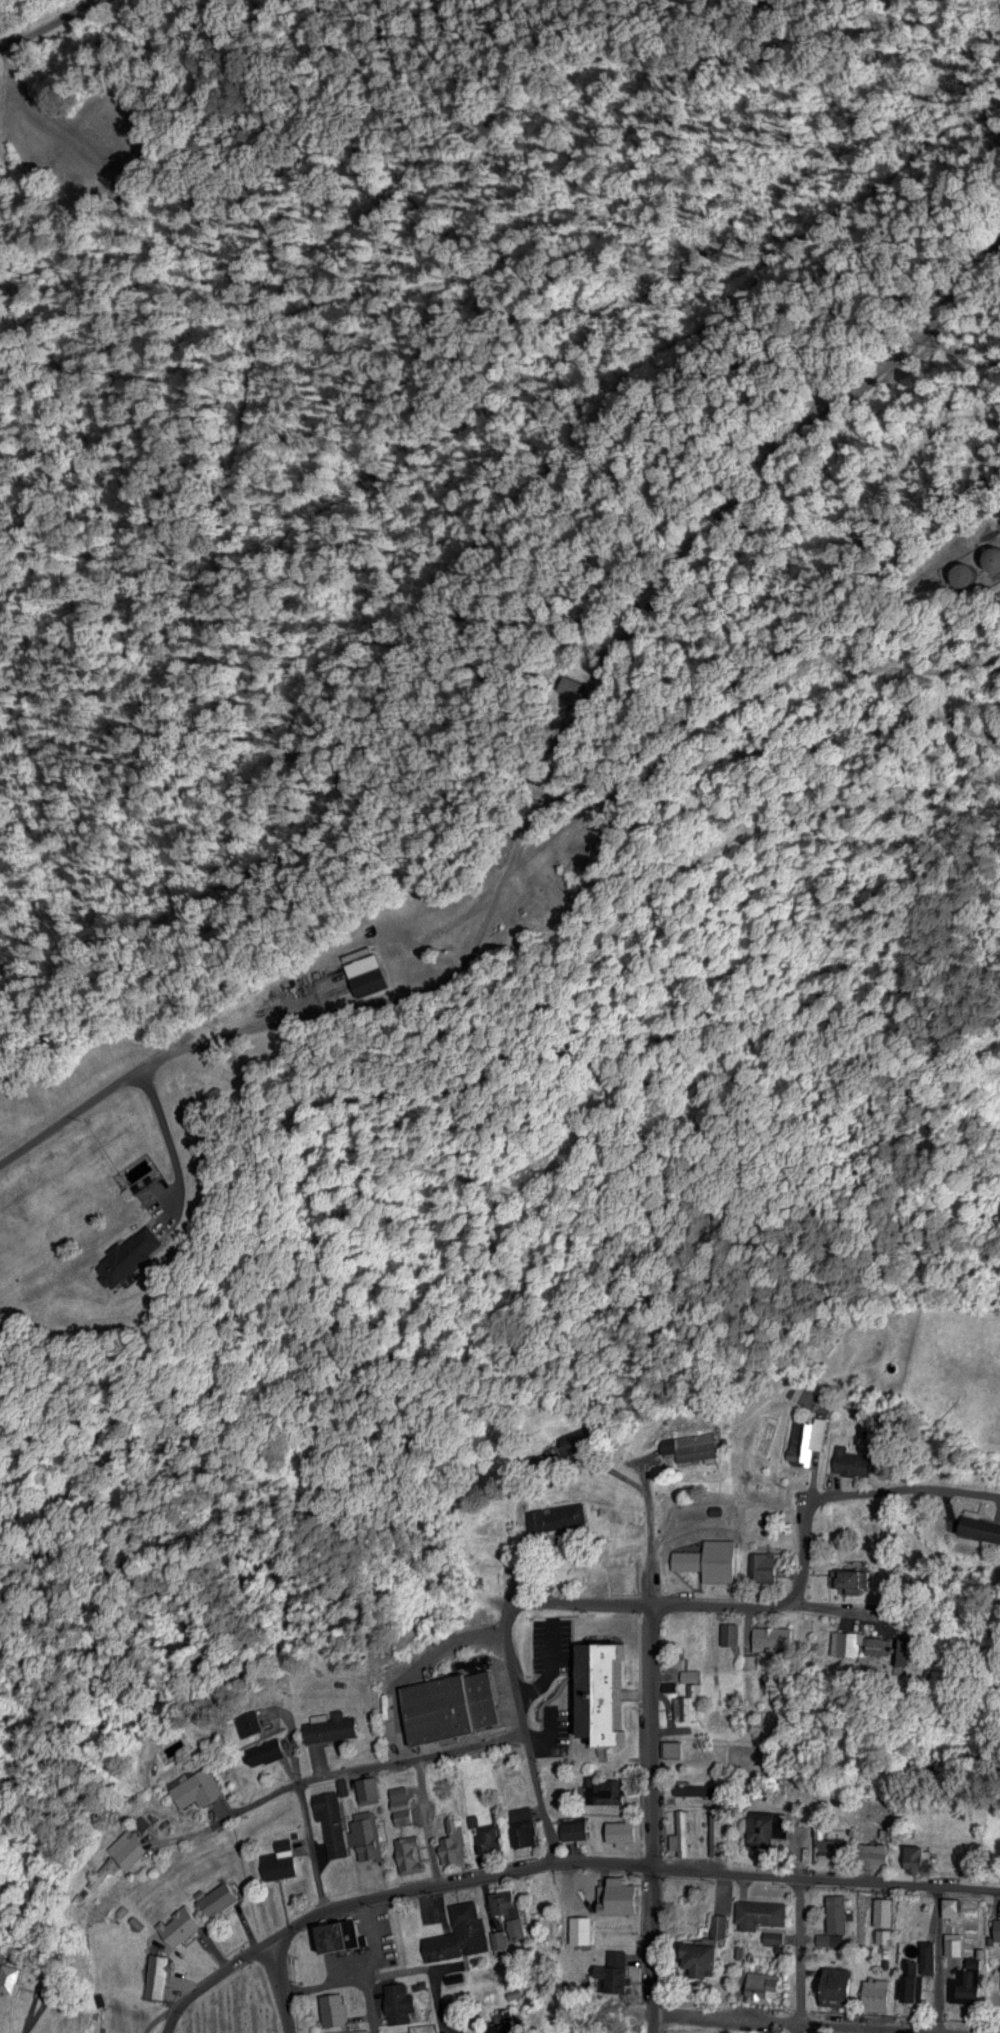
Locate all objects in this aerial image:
road: (44, 23)
road: (715, 518)
building: (989, 558)
building: (566, 685)
road: (278, 1021)
building: (136, 1253)
building: (804, 1391)
building: (809, 1435)
building: (579, 1438)
building: (700, 1446)
building: (856, 1460)
road: (853, 1491)
building: (560, 1516)
building: (984, 1525)
road: (650, 1528)
building: (498, 1547)
building: (712, 1557)
building: (766, 1565)
building: (853, 1579)
road: (584, 1600)
road: (761, 1603)
building: (733, 1632)
building: (775, 1634)
building: (867, 1642)
building: (547, 1647)
building: (778, 1688)
building: (622, 1692)
building: (692, 1695)
building: (451, 1704)
building: (725, 1715)
building: (251, 1722)
building: (335, 1725)
road: (527, 1729)
road: (652, 1733)
building: (677, 1747)
building: (269, 1750)
road: (412, 1752)
road: (715, 1771)
building: (371, 1788)
building: (609, 1788)
building: (701, 1788)
building: (201, 1795)
road: (245, 1807)
building: (407, 1810)
building: (335, 1820)
building: (527, 1825)
building: (577, 1826)
building: (617, 1826)
building: (771, 1826)
building: (683, 1831)
building: (717, 1831)
building: (370, 1836)
building: (493, 1836)
road: (311, 1841)
building: (457, 1841)
building: (128, 1849)
building: (832, 1849)
building: (879, 1854)
building: (920, 1857)
building: (282, 1862)
road: (826, 1876)
road: (383, 1889)
building: (620, 1890)
building: (221, 1897)
building: (955, 1905)
building: (512, 1909)
building: (887, 1910)
building: (762, 1912)
building: (837, 1919)
building: (182, 1924)
building: (721, 1924)
building: (999, 1927)
building: (583, 1928)
building: (462, 1932)
building: (347, 1935)
building: (777, 1936)
building: (886, 1936)
building: (502, 1938)
building: (956, 1945)
road: (653, 1949)
road: (799, 1953)
road: (938, 1956)
building: (709, 1957)
building: (160, 1963)
road: (432, 1966)
building: (619, 1967)
building: (921, 1969)
building: (14, 1978)
road: (323, 1980)
building: (971, 1981)
building: (843, 1984)
road: (279, 1986)
building: (765, 1986)
building: (880, 1993)
building: (403, 2001)
road: (373, 2003)
park: (233, 2004)
building: (338, 2008)
road: (31, 2012)
road: (156, 2019)
road: (826, 2021)
building: (411, 2032)

